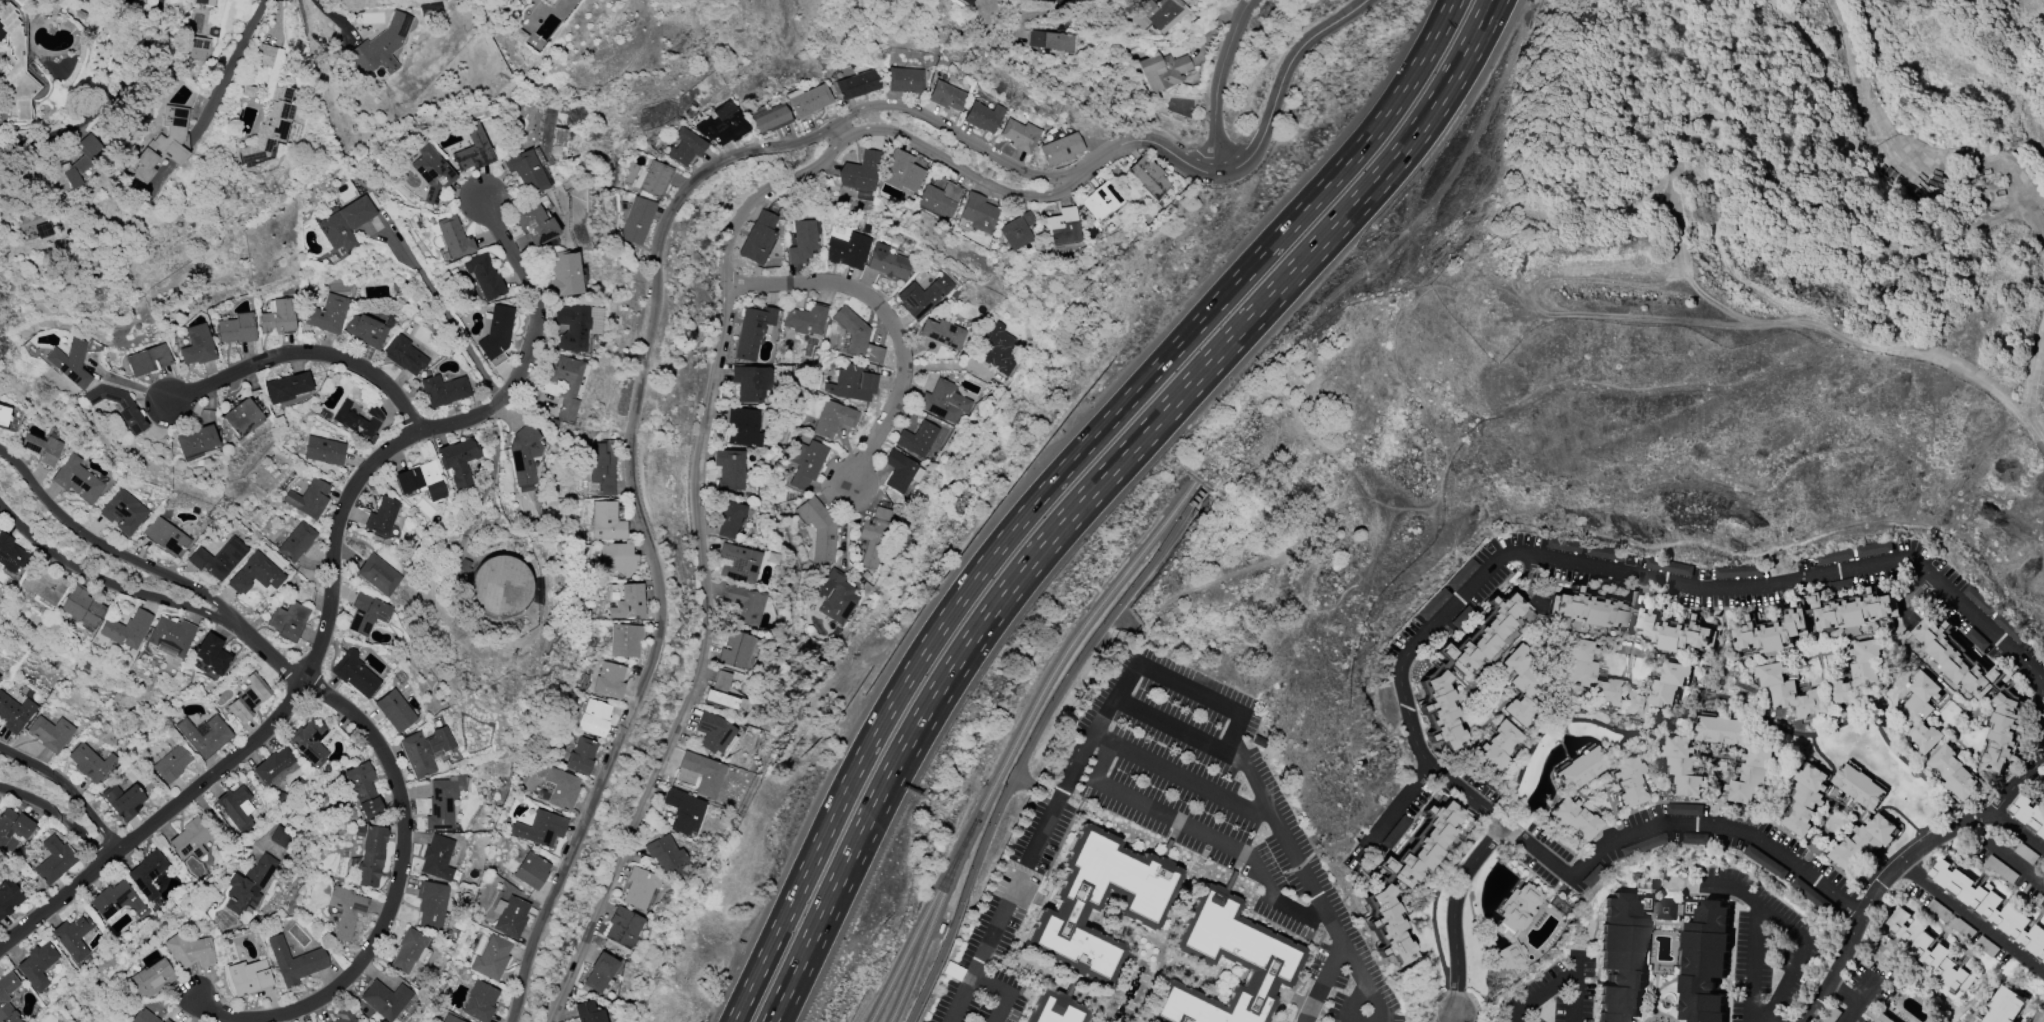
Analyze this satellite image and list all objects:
building: (556, 0)
building: (598, 0)
building: (601, 0)
building: (21, 2)
building: (205, 2)
building: (548, 2)
building: (964, 2)
building: (1152, 14)
road: (338, 18)
road: (1232, 34)
building: (1050, 41)
building: (382, 45)
building: (196, 47)
building: (265, 56)
road: (243, 61)
road: (1847, 63)
building: (15, 68)
building: (1162, 71)
building: (905, 80)
building: (858, 85)
road: (1283, 87)
building: (946, 97)
building: (810, 101)
road: (106, 102)
building: (983, 117)
building: (770, 118)
road: (1213, 123)
building: (722, 125)
building: (269, 126)
road: (840, 132)
road: (957, 135)
building: (1019, 135)
road: (1145, 141)
building: (162, 145)
building: (685, 148)
building: (1061, 149)
building: (474, 150)
building: (75, 166)
building: (525, 171)
road: (963, 171)
building: (861, 172)
building: (901, 172)
building: (432, 174)
building: (1147, 177)
building: (653, 179)
building: (939, 200)
building: (1101, 201)
building: (979, 213)
building: (637, 221)
building: (344, 223)
building: (533, 223)
building: (1061, 227)
building: (42, 230)
building: (1017, 231)
building: (454, 238)
building: (758, 238)
building: (803, 242)
building: (848, 250)
building: (888, 263)
building: (566, 275)
building: (484, 276)
building: (923, 296)
building: (328, 315)
building: (278, 317)
building: (805, 320)
road: (889, 320)
building: (572, 327)
building: (236, 329)
building: (366, 331)
building: (496, 331)
building: (752, 331)
building: (943, 333)
road: (459, 336)
building: (857, 337)
road: (531, 342)
building: (197, 346)
building: (996, 349)
road: (304, 353)
building: (405, 355)
building: (148, 360)
building: (70, 363)
building: (565, 383)
building: (750, 383)
building: (855, 383)
road: (131, 385)
building: (287, 387)
building: (444, 391)
building: (944, 402)
building: (117, 406)
building: (4, 415)
building: (241, 418)
road: (1154, 418)
building: (834, 419)
building: (357, 420)
building: (743, 427)
building: (917, 439)
building: (194, 440)
building: (41, 448)
building: (324, 451)
building: (524, 456)
building: (459, 462)
building: (807, 462)
building: (602, 469)
building: (730, 470)
building: (901, 472)
building: (78, 479)
building: (421, 481)
road: (1052, 481)
road: (487, 487)
building: (309, 499)
building: (123, 512)
road: (340, 513)
building: (381, 517)
building: (729, 519)
building: (606, 522)
building: (819, 529)
road: (642, 531)
building: (874, 535)
building: (166, 537)
building: (296, 543)
road: (115, 552)
building: (11, 556)
building: (218, 559)
building: (618, 559)
building: (738, 563)
road: (702, 565)
building: (465, 566)
building: (255, 574)
building: (379, 575)
road: (1634, 578)
building: (41, 583)
road: (114, 585)
building: (499, 585)
storage tank: (499, 585)
building: (835, 597)
building: (628, 603)
building: (744, 604)
building: (81, 607)
building: (1595, 611)
building: (1855, 611)
building: (367, 614)
building: (288, 621)
building: (126, 630)
building: (1676, 632)
building: (1770, 634)
building: (1482, 635)
building: (171, 636)
building: (625, 641)
building: (735, 650)
building: (211, 654)
building: (1956, 657)
road: (273, 658)
road: (1144, 666)
building: (1589, 673)
building: (354, 674)
building: (1857, 674)
building: (609, 681)
building: (1521, 686)
building: (1657, 690)
building: (720, 691)
building: (1790, 691)
building: (248, 699)
building: (395, 711)
building: (1440, 712)
building: (1922, 712)
building: (14, 713)
building: (594, 719)
road: (1177, 726)
building: (1721, 730)
building: (50, 733)
building: (715, 734)
building: (2004, 734)
building: (204, 736)
railway: (1015, 741)
road: (1033, 741)
building: (310, 743)
building: (1497, 747)
building: (424, 751)
road: (240, 753)
building: (581, 756)
building: (91, 763)
building: (171, 764)
building: (1683, 764)
building: (276, 767)
building: (1581, 769)
road: (2027, 772)
building: (703, 773)
building: (1954, 773)
building: (1751, 774)
road: (1181, 775)
building: (1629, 782)
building: (1860, 786)
road: (68, 788)
building: (561, 789)
building: (363, 790)
building: (1806, 799)
building: (123, 801)
building: (443, 802)
building: (237, 808)
building: (1685, 809)
building: (683, 811)
road: (1400, 811)
building: (2030, 814)
road: (58, 815)
building: (1573, 819)
road: (1684, 821)
building: (540, 829)
building: (12, 830)
parking lot: (1171, 831)
road: (1198, 833)
building: (282, 837)
building: (190, 840)
building: (1863, 841)
building: (1423, 846)
road: (2003, 852)
building: (666, 854)
building: (370, 855)
building: (437, 858)
building: (54, 860)
road: (1892, 867)
building: (531, 871)
building: (148, 874)
road: (2042, 876)
building: (249, 885)
building: (639, 888)
building: (9, 897)
road: (59, 898)
road: (391, 899)
building: (117, 901)
building: (1098, 903)
building: (430, 904)
building: (1991, 907)
building: (346, 910)
road: (1971, 914)
building: (510, 916)
road: (1458, 925)
building: (1514, 925)
railway: (930, 926)
building: (623, 927)
building: (1389, 927)
building: (73, 937)
road: (807, 940)
road: (813, 940)
road: (1957, 942)
road: (1752, 944)
road: (1800, 948)
building: (189, 950)
building: (407, 950)
building: (1928, 950)
building: (1243, 954)
building: (490, 955)
building: (1661, 959)
building: (294, 962)
building: (37, 965)
building: (600, 972)
building: (248, 977)
building: (148, 980)
road: (1322, 982)
road: (1574, 984)
road: (1843, 988)
road: (1003, 992)
road: (1539, 992)
building: (8, 997)
road: (1855, 998)
building: (385, 1000)
building: (480, 1002)
building: (2006, 1006)
building: (1055, 1009)
building: (589, 1012)
building: (345, 1016)
park: (2041, 1016)
building: (143, 1017)
road: (1461, 1018)
road: (1506, 1018)
road: (1748, 1018)
building: (1881, 1018)
building: (451, 1019)
road: (1364, 1020)
building: (166, 1021)

